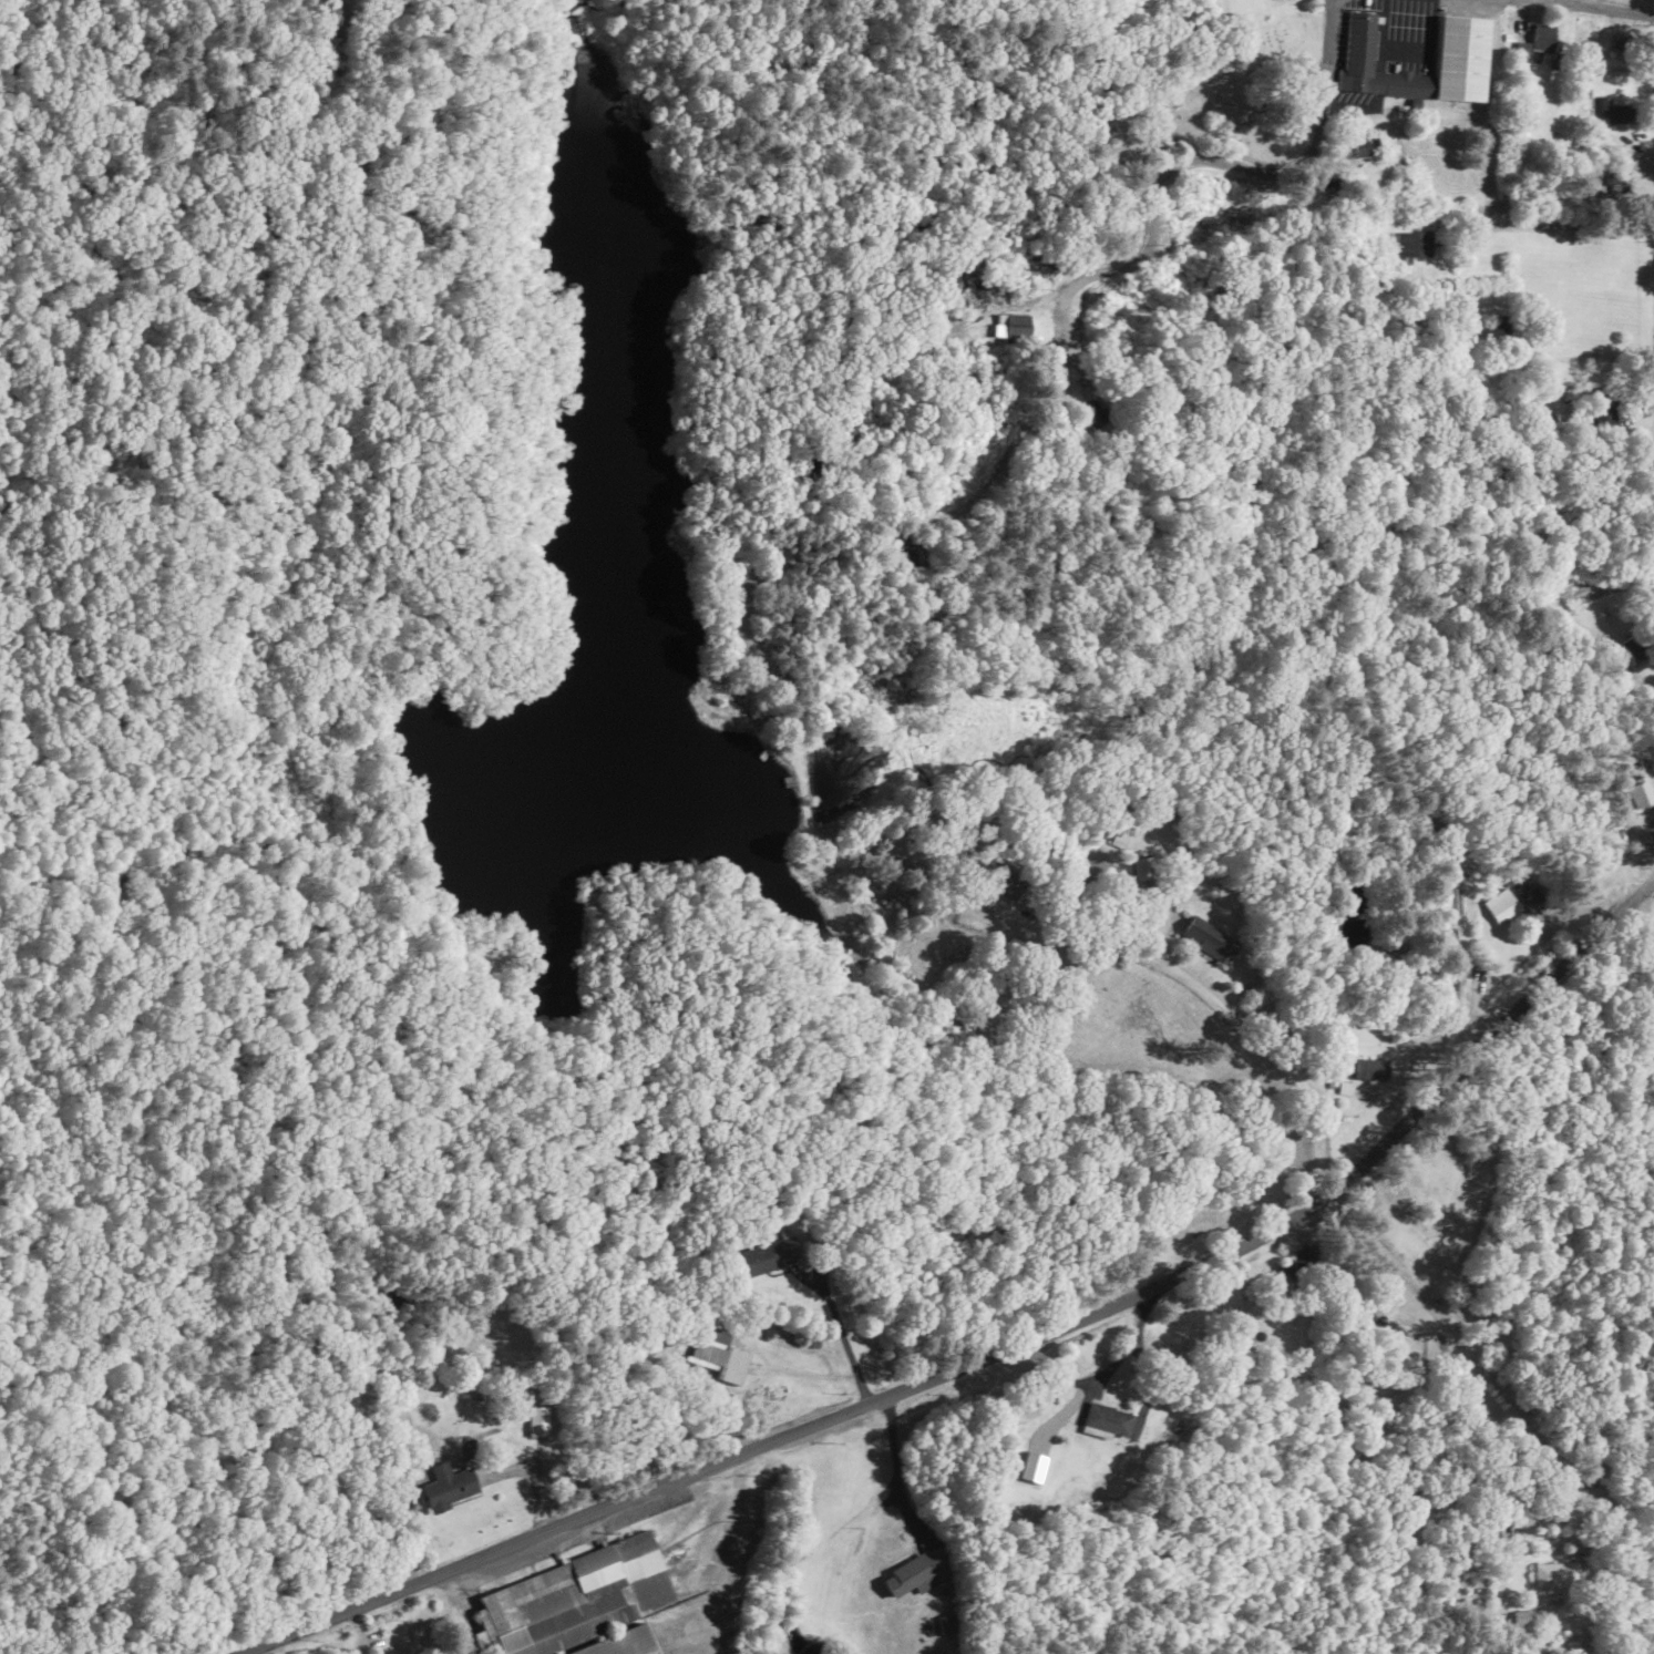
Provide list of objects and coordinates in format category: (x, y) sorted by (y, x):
road: (1573, 10)
building: (1465, 42)
building: (1541, 42)
building: (1621, 44)
building: (1612, 111)
building: (1365, 147)
road: (1189, 162)
building: (1414, 244)
building: (1015, 329)
building: (1095, 418)
building: (910, 555)
building: (1635, 647)
building: (1638, 793)
building: (1007, 883)
building: (1531, 895)
building: (1501, 906)
building: (1206, 938)
building: (1372, 1070)
building: (769, 1255)
building: (1302, 1261)
road: (1469, 1286)
road: (1517, 1290)
road: (730, 1311)
road: (1005, 1364)
building: (1108, 1419)
building: (537, 1421)
building: (466, 1448)
building: (450, 1486)
building: (912, 1574)
building: (1557, 1574)
building: (576, 1599)
building: (1529, 1623)
building: (623, 1643)

